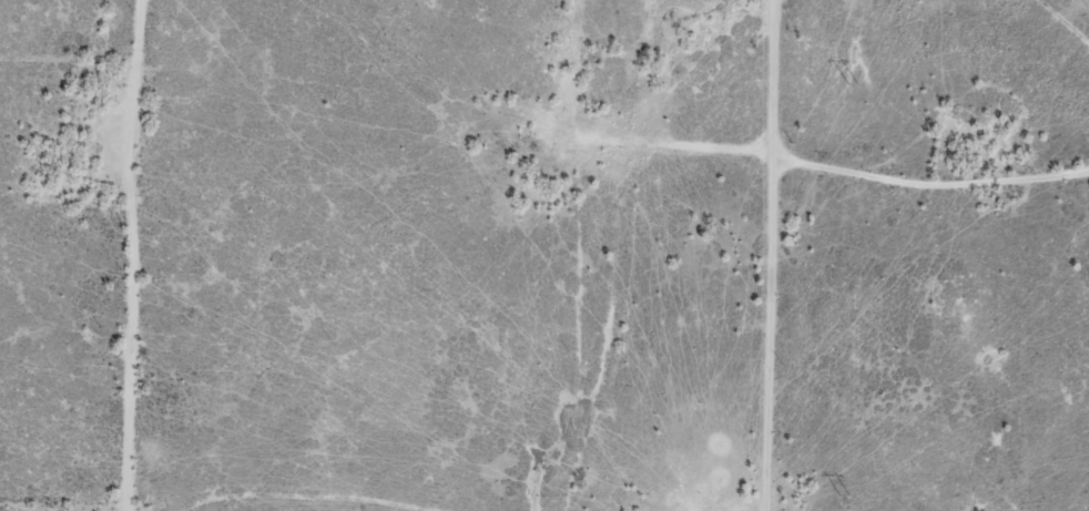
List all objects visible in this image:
power tower: (853, 84)
road: (81, 85)
road: (975, 177)
road: (163, 254)
road: (856, 254)
road: (647, 259)
power tower: (843, 493)

